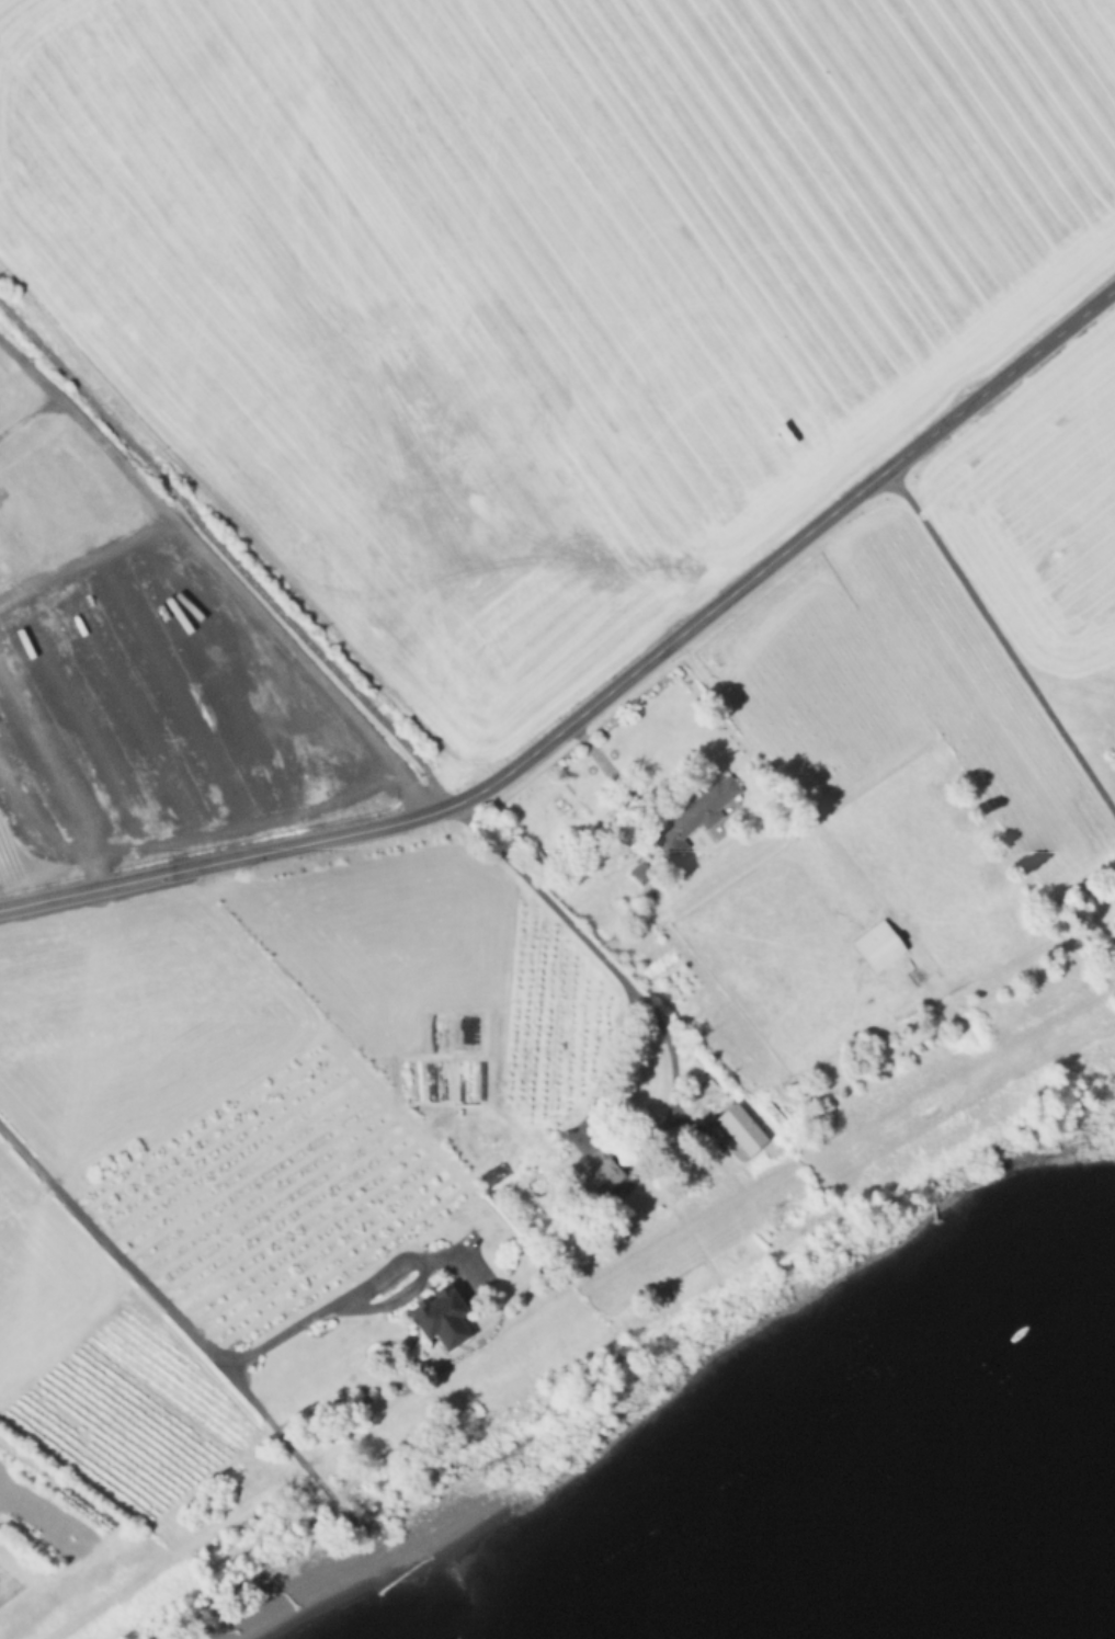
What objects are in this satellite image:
crop: (546, 284)
road: (30, 413)
road: (86, 424)
crop: (1042, 502)
road: (812, 531)
road: (226, 557)
road: (238, 594)
road: (1002, 644)
road: (624, 784)
road: (483, 792)
building: (706, 805)
road: (390, 826)
road: (184, 840)
building: (645, 872)
road: (92, 873)
road: (163, 876)
building: (878, 944)
road: (670, 1042)
building: (774, 1109)
building: (743, 1127)
crop: (238, 1150)
building: (606, 1181)
road: (335, 1298)
road: (387, 1302)
road: (172, 1308)
building: (439, 1312)

